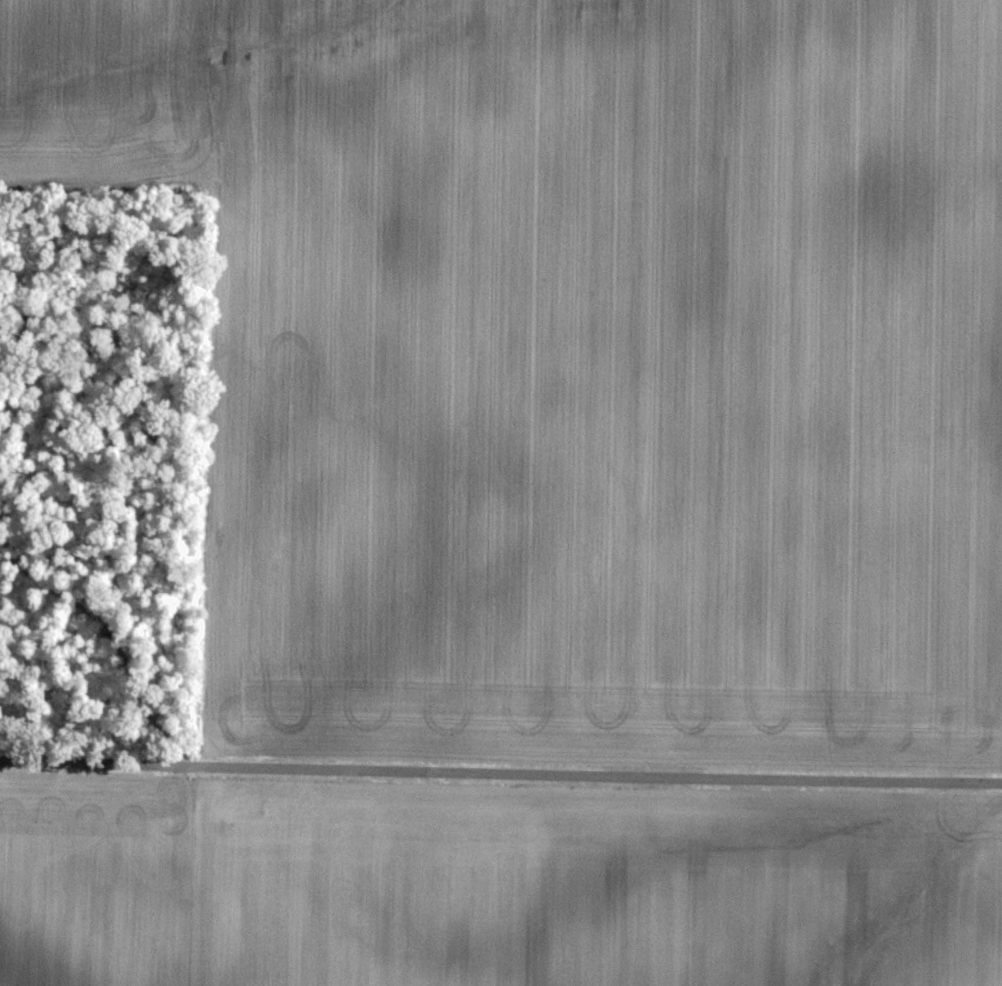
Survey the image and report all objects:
road: (500, 774)

